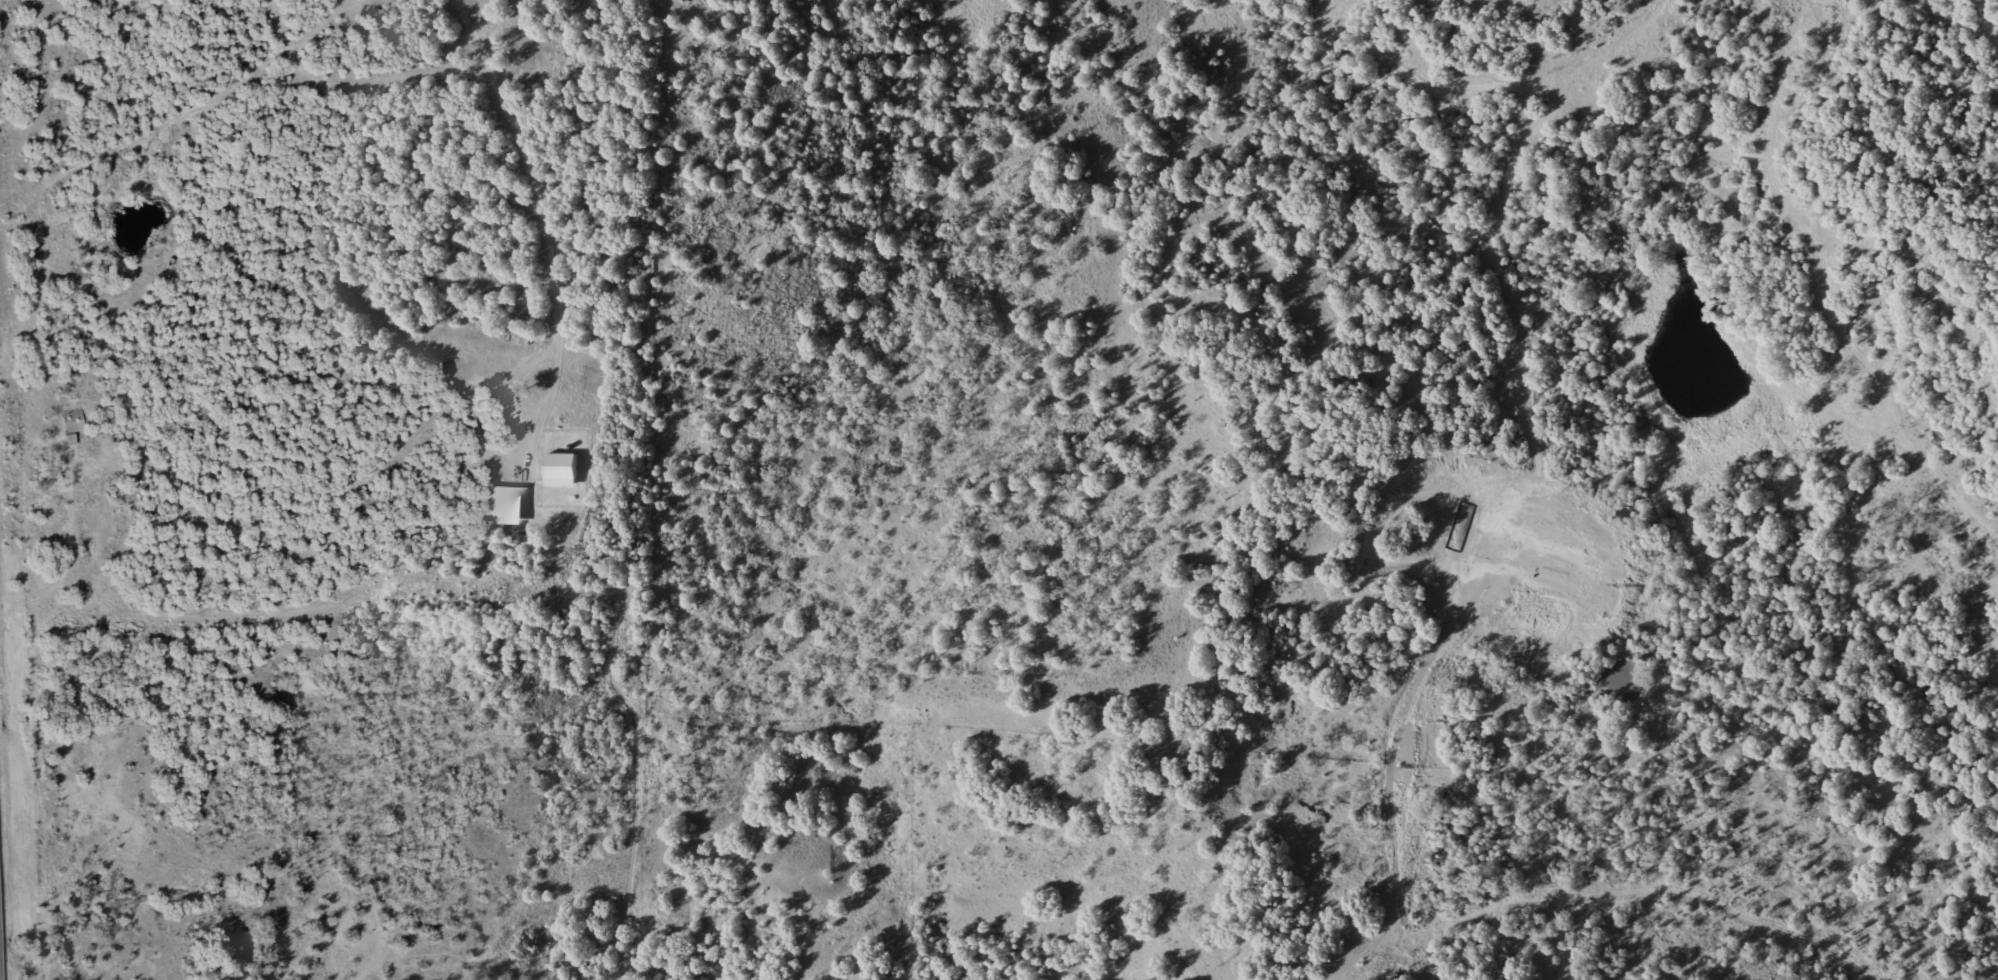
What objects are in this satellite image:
building: (71, 424)
road: (1130, 845)

